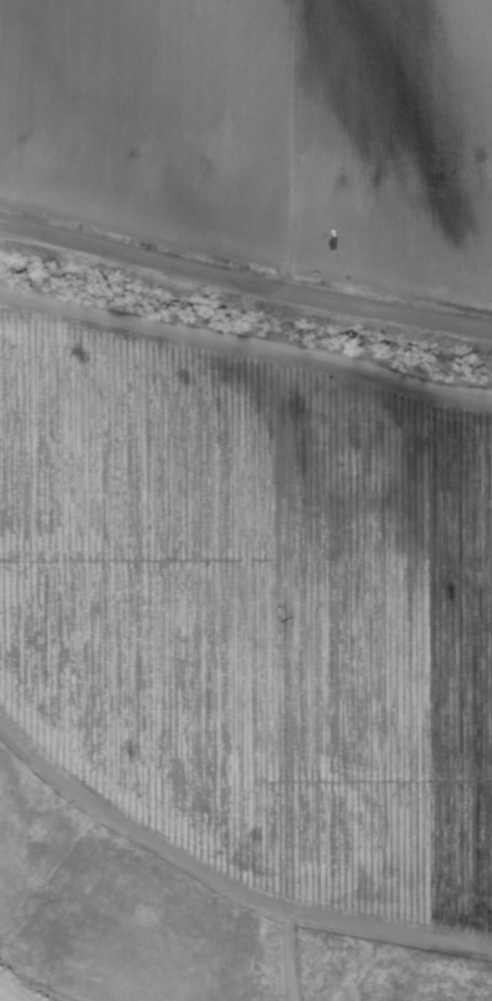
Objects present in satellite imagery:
road: (245, 284)
road: (246, 350)

